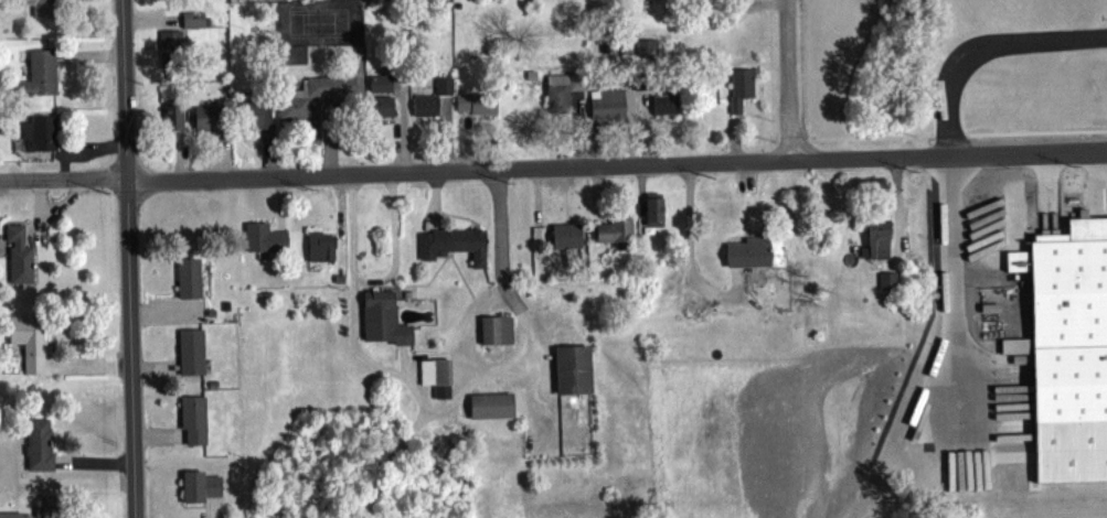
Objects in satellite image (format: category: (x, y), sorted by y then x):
building: (38, 9)
building: (192, 24)
road: (981, 40)
building: (169, 53)
building: (646, 55)
building: (39, 78)
road: (789, 79)
building: (381, 86)
building: (443, 90)
building: (738, 93)
building: (564, 99)
building: (312, 100)
building: (662, 106)
building: (476, 108)
building: (606, 108)
building: (424, 109)
building: (379, 111)
building: (254, 118)
building: (205, 122)
building: (39, 139)
road: (553, 166)
building: (652, 216)
building: (613, 235)
building: (565, 240)
building: (263, 242)
building: (877, 244)
building: (451, 249)
building: (319, 251)
building: (747, 258)
road: (128, 259)
building: (18, 260)
road: (958, 274)
building: (188, 283)
building: (886, 285)
building: (1066, 320)
building: (382, 323)
building: (496, 335)
building: (26, 345)
building: (190, 356)
building: (572, 375)
building: (435, 380)
building: (490, 410)
road: (444, 412)
building: (192, 424)
building: (38, 449)
building: (199, 492)
building: (41, 515)

